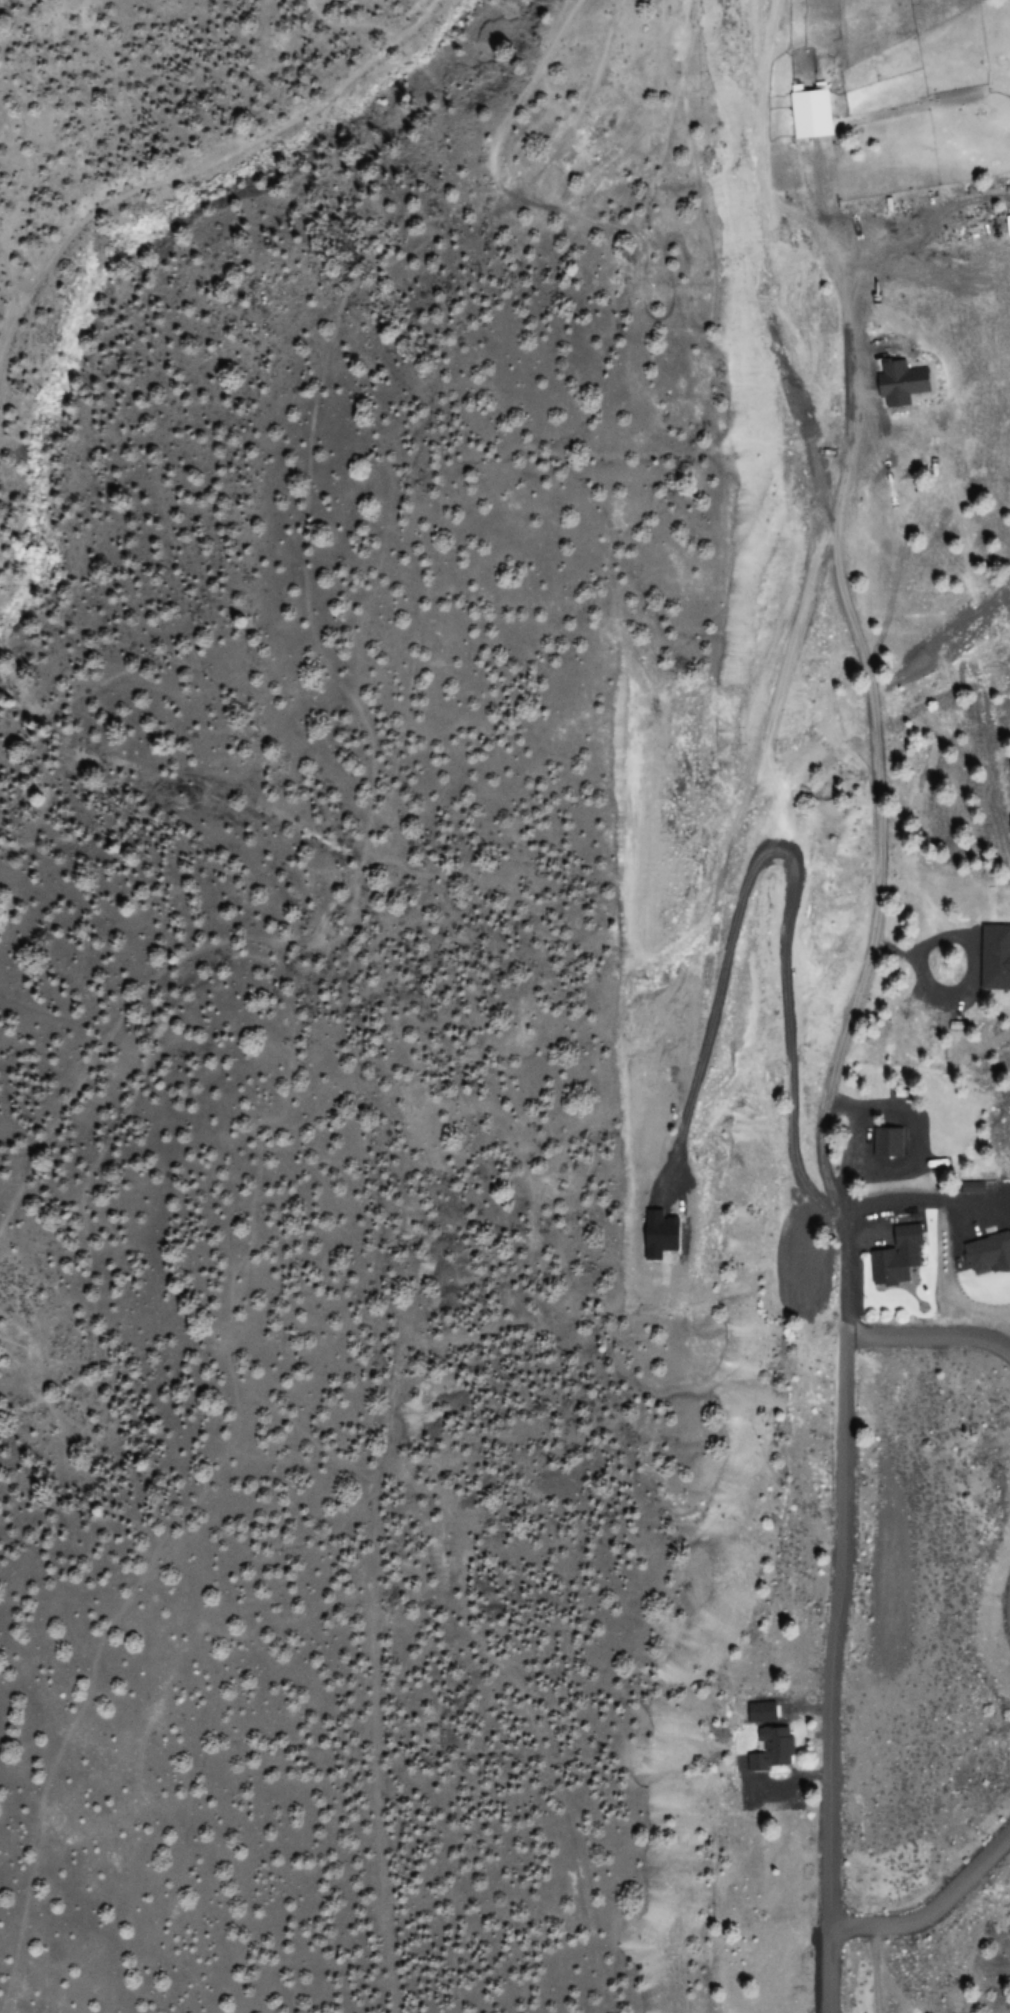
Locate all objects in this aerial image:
building: (802, 106)
building: (896, 383)
building: (985, 1255)
building: (893, 1257)
road: (930, 1337)
road: (836, 1610)
building: (762, 1713)
building: (772, 1751)
road: (935, 1909)

